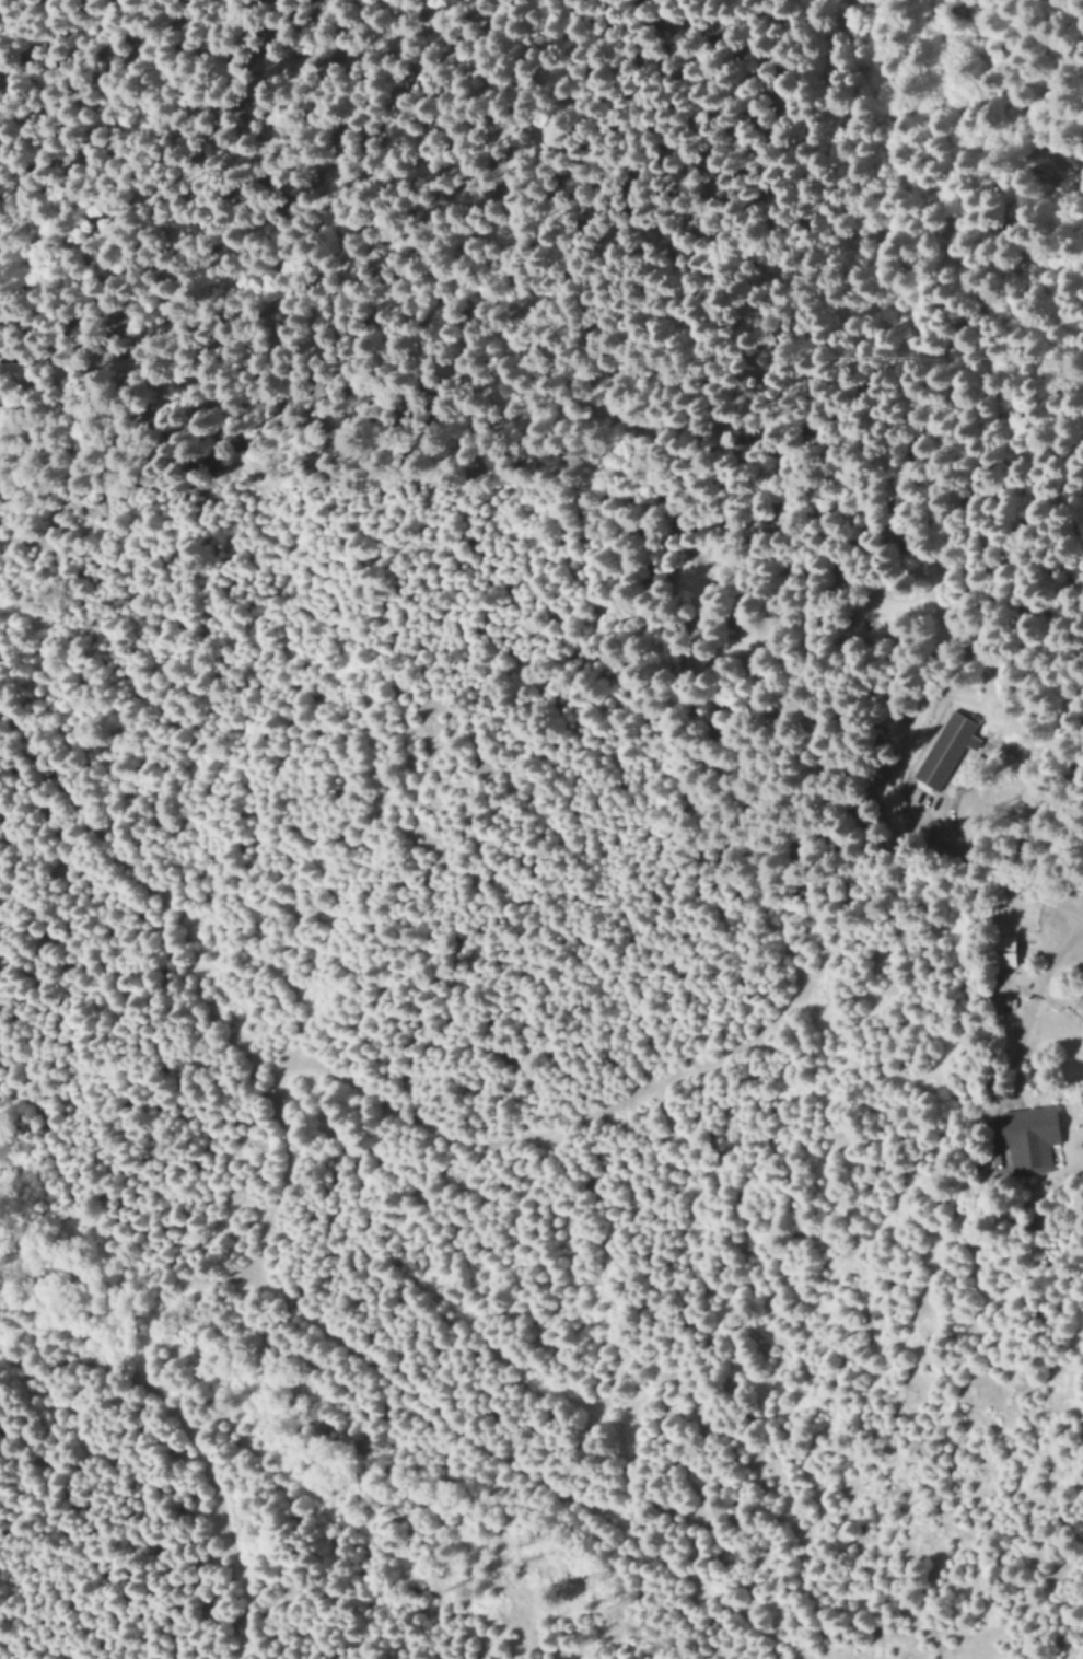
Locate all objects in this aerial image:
building: (982, 734)
building: (942, 751)
building: (1004, 954)
building: (1032, 1139)

